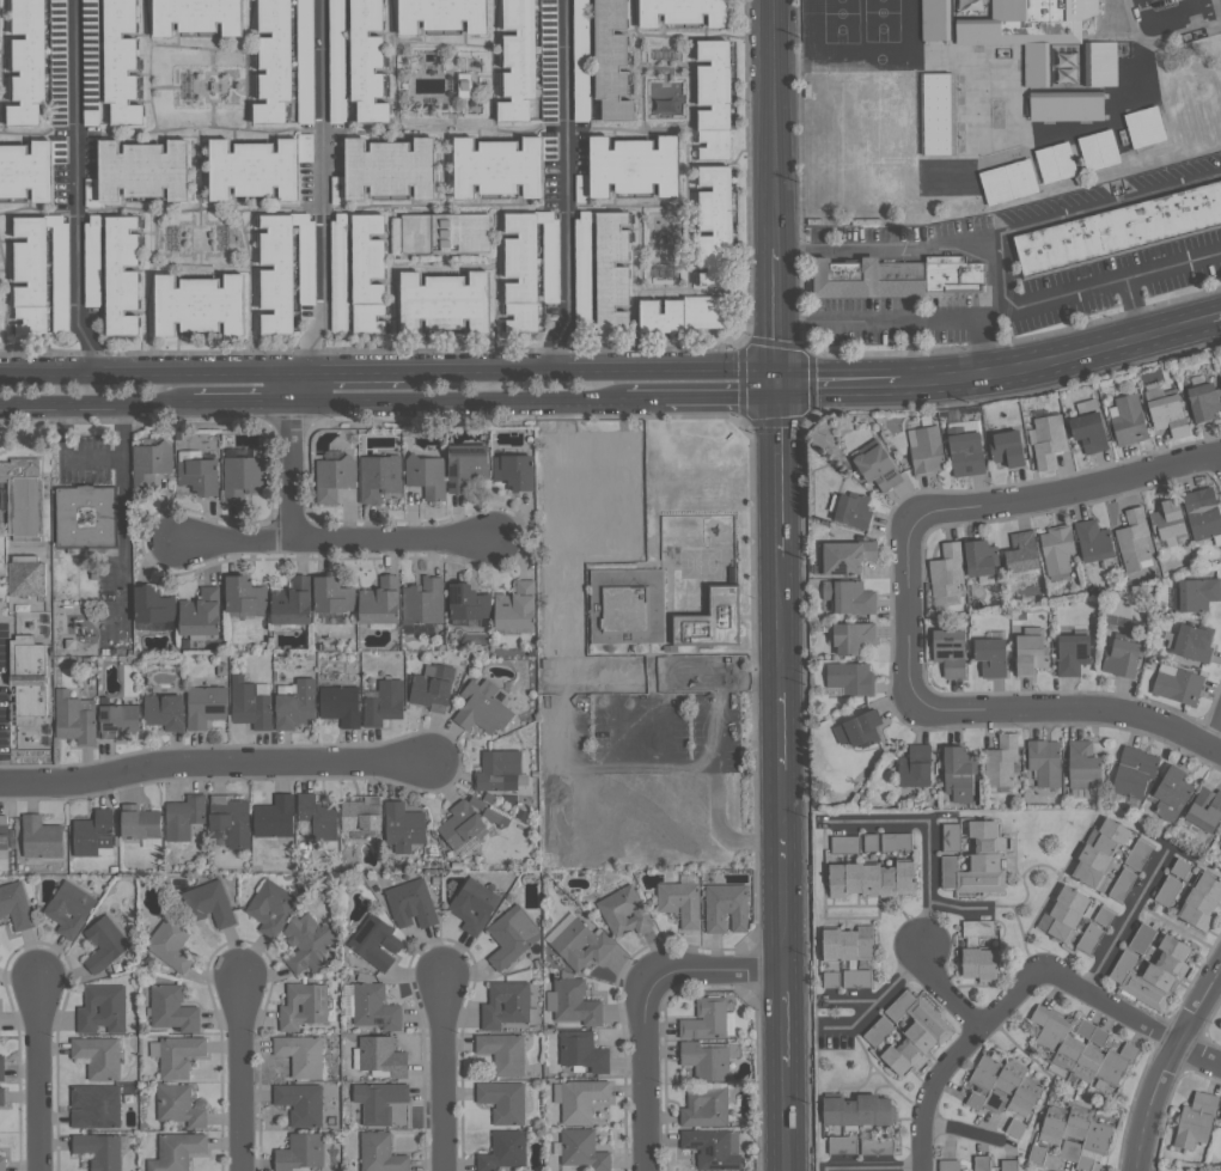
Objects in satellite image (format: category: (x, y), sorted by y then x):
building: (970, 4)
road: (1188, 4)
building: (682, 12)
road: (1173, 12)
building: (441, 16)
building: (197, 17)
building: (935, 20)
building: (1030, 30)
building: (337, 53)
building: (549, 60)
building: (611, 60)
building: (305, 61)
building: (518, 61)
building: (28, 62)
building: (121, 62)
building: (274, 62)
building: (367, 62)
building: (1099, 63)
building: (1064, 75)
building: (952, 81)
building: (863, 84)
building: (883, 84)
building: (902, 84)
building: (921, 84)
building: (464, 85)
building: (713, 98)
building: (953, 100)
building: (1066, 108)
building: (90, 118)
building: (954, 120)
road: (774, 123)
building: (1144, 127)
building: (957, 139)
building: (1099, 150)
building: (1055, 163)
building: (634, 165)
building: (497, 166)
building: (257, 167)
building: (385, 169)
building: (26, 170)
building: (140, 171)
building: (938, 178)
building: (1007, 182)
road: (564, 188)
building: (581, 188)
road: (322, 189)
road: (73, 190)
building: (714, 224)
building: (1118, 230)
building: (445, 233)
road: (1002, 233)
building: (337, 246)
building: (529, 268)
building: (582, 268)
building: (285, 269)
building: (612, 270)
road: (1001, 273)
building: (367, 274)
building: (121, 275)
building: (41, 276)
building: (896, 277)
building: (444, 301)
building: (200, 304)
road: (1133, 307)
road: (1002, 310)
building: (682, 313)
road: (776, 316)
road: (1217, 319)
road: (987, 346)
road: (911, 350)
road: (1058, 359)
road: (591, 371)
road: (347, 373)
road: (144, 374)
road: (838, 384)
traffic signals: (776, 385)
road: (289, 386)
road: (721, 397)
road: (242, 398)
road: (457, 398)
road: (645, 398)
building: (1203, 401)
road: (97, 402)
building: (1166, 411)
building: (1127, 420)
building: (963, 427)
building: (1088, 432)
building: (1048, 438)
building: (1007, 447)
building: (927, 451)
building: (237, 452)
building: (965, 455)
road: (91, 459)
building: (149, 463)
building: (465, 466)
building: (878, 468)
road: (777, 470)
road: (291, 471)
building: (513, 471)
building: (199, 475)
building: (426, 475)
building: (334, 476)
building: (378, 476)
building: (242, 478)
road: (1066, 490)
building: (23, 499)
building: (851, 511)
building: (1201, 516)
building: (85, 517)
road: (123, 518)
building: (1167, 519)
building: (1133, 539)
building: (1093, 542)
road: (330, 543)
building: (1056, 549)
building: (1021, 553)
building: (847, 556)
building: (979, 557)
building: (19, 574)
building: (948, 575)
building: (246, 594)
building: (334, 594)
building: (1199, 596)
building: (850, 597)
building: (381, 602)
building: (425, 602)
building: (293, 603)
building: (470, 603)
building: (154, 606)
building: (627, 606)
building: (518, 608)
road: (906, 612)
building: (202, 614)
road: (780, 617)
building: (716, 621)
building: (855, 638)
building: (1196, 642)
building: (951, 652)
building: (1033, 652)
building: (1074, 654)
building: (994, 657)
building: (1124, 658)
building: (29, 678)
building: (851, 678)
building: (1179, 684)
building: (433, 687)
parking lot: (4, 693)
building: (251, 702)
building: (385, 703)
building: (341, 705)
building: (206, 706)
building: (298, 706)
building: (483, 708)
road: (1074, 708)
building: (165, 710)
building: (75, 718)
building: (118, 719)
road: (663, 724)
road: (714, 724)
road: (781, 724)
road: (615, 725)
building: (861, 730)
road: (1215, 734)
road: (563, 760)
building: (1002, 760)
road: (210, 762)
building: (1045, 762)
building: (1085, 764)
building: (917, 766)
building: (499, 770)
building: (1135, 771)
building: (961, 773)
parking lot: (541, 774)
building: (1174, 793)
building: (1207, 809)
building: (364, 813)
building: (184, 816)
building: (275, 817)
building: (318, 817)
building: (496, 817)
building: (231, 819)
building: (142, 821)
building: (463, 823)
building: (404, 825)
road: (927, 831)
building: (5, 832)
building: (94, 834)
building: (42, 836)
building: (952, 836)
building: (898, 841)
building: (872, 842)
building: (845, 843)
building: (1101, 850)
building: (1140, 853)
building: (979, 861)
building: (1182, 867)
road: (782, 874)
building: (874, 878)
building: (1123, 884)
building: (1170, 890)
building: (1203, 899)
building: (680, 902)
building: (208, 903)
building: (411, 903)
building: (16, 904)
building: (474, 904)
road: (954, 905)
building: (271, 907)
building: (727, 907)
building: (69, 908)
building: (623, 910)
building: (1067, 913)
building: (1105, 915)
road: (1121, 925)
building: (512, 935)
building: (1143, 937)
building: (1092, 938)
building: (376, 941)
building: (579, 941)
building: (105, 943)
building: (171, 943)
building: (309, 943)
building: (851, 943)
building: (981, 950)
building: (1154, 971)
building: (859, 977)
road: (714, 978)
building: (832, 978)
road: (946, 992)
road: (877, 998)
road: (847, 1000)
building: (574, 1001)
building: (506, 1004)
building: (304, 1005)
road: (1012, 1005)
building: (372, 1006)
building: (102, 1008)
building: (172, 1008)
road: (1106, 1012)
building: (707, 1018)
building: (904, 1021)
road: (782, 1023)
building: (878, 1030)
building: (916, 1031)
building: (1093, 1032)
building: (584, 1050)
building: (1081, 1050)
building: (503, 1053)
building: (177, 1054)
building: (301, 1054)
building: (98, 1055)
building: (380, 1056)
road: (1196, 1056)
building: (707, 1060)
road: (1165, 1063)
building: (2, 1067)
road: (646, 1074)
road: (244, 1077)
road: (441, 1078)
road: (37, 1079)
building: (1003, 1086)
road: (929, 1092)
building: (2, 1096)
building: (582, 1098)
building: (379, 1100)
building: (503, 1100)
building: (301, 1103)
building: (179, 1104)
building: (96, 1105)
building: (706, 1106)
building: (861, 1109)
road: (783, 1118)
building: (1197, 1120)
building: (1015, 1128)
building: (1076, 1133)
building: (844, 1145)
building: (878, 1146)
building: (714, 1148)
building: (99, 1149)
building: (582, 1149)
building: (177, 1151)
building: (503, 1151)
building: (301, 1152)
building: (380, 1153)
building: (1038, 1153)
building: (2, 1163)
building: (982, 1163)
building: (948, 1165)
building: (1007, 1165)
road: (871, 1167)

